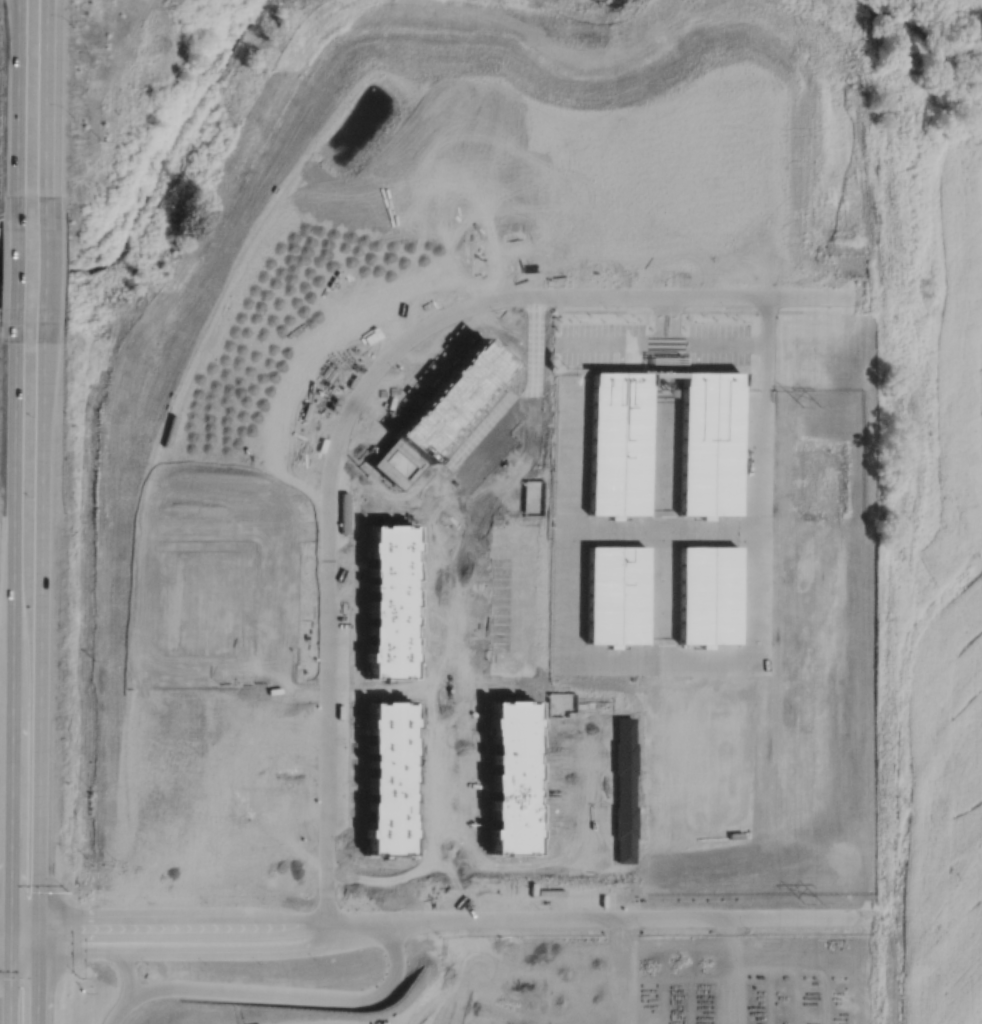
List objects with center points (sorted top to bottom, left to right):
street lamp: (72, 25)
road: (17, 107)
road: (45, 107)
street lamp: (71, 115)
road: (15, 268)
road: (44, 268)
street lamp: (666, 283)
street lamp: (547, 285)
road: (640, 295)
street lamp: (604, 305)
street lamp: (434, 306)
street lamp: (727, 307)
street lamp: (493, 309)
street lamp: (392, 367)
power tower: (810, 408)
street lamp: (336, 412)
road: (13, 502)
crop: (931, 509)
street lamp: (319, 546)
road: (331, 602)
street lamp: (354, 607)
road: (40, 622)
building: (486, 651)
street lamp: (317, 660)
street lamp: (354, 723)
street lamp: (317, 779)
road: (10, 803)
street lamp: (341, 840)
traffic signals: (10, 891)
street lamp: (68, 891)
street lamp: (208, 900)
street lamp: (151, 901)
street lamp: (266, 901)
street lamp: (540, 907)
power tower: (813, 907)
street lamp: (376, 908)
road: (636, 917)
road: (362, 921)
road: (5, 922)
road: (289, 922)
road: (23, 923)
traffic signals: (75, 923)
road: (142, 923)
street lamp: (749, 929)
street lamp: (643, 930)
road: (363, 931)
street lamp: (439, 931)
road: (332, 932)
road: (9, 937)
road: (37, 937)
road: (272, 949)
road: (124, 950)
road: (4, 951)
road: (23, 952)
street lamp: (317, 958)
street lamp: (263, 960)
street lamp: (150, 963)
street lamp: (208, 963)
road: (129, 972)
street lamp: (80, 976)
traffic signals: (37, 985)
road: (8, 988)
road: (36, 988)
road: (298, 993)
road: (123, 1009)

